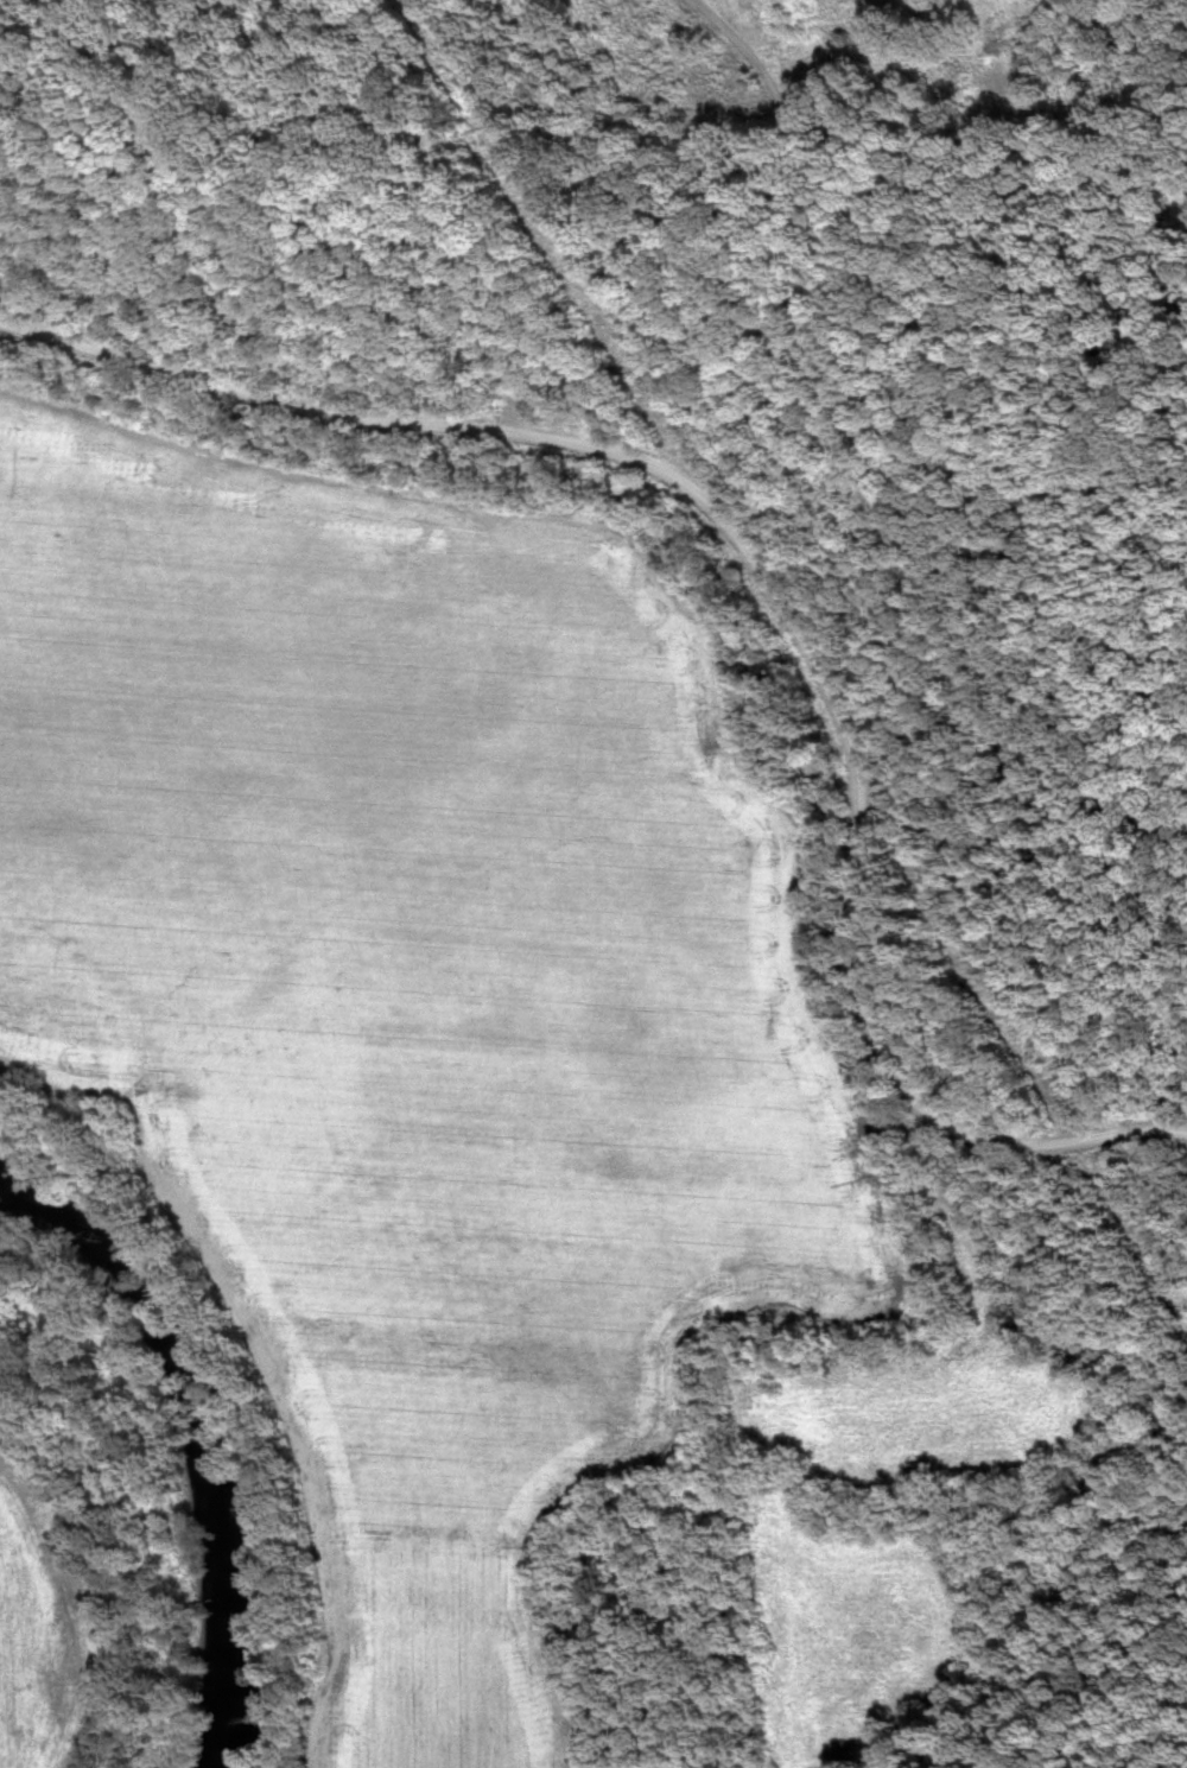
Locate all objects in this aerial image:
road: (793, 299)
road: (768, 590)
river: (197, 1439)

